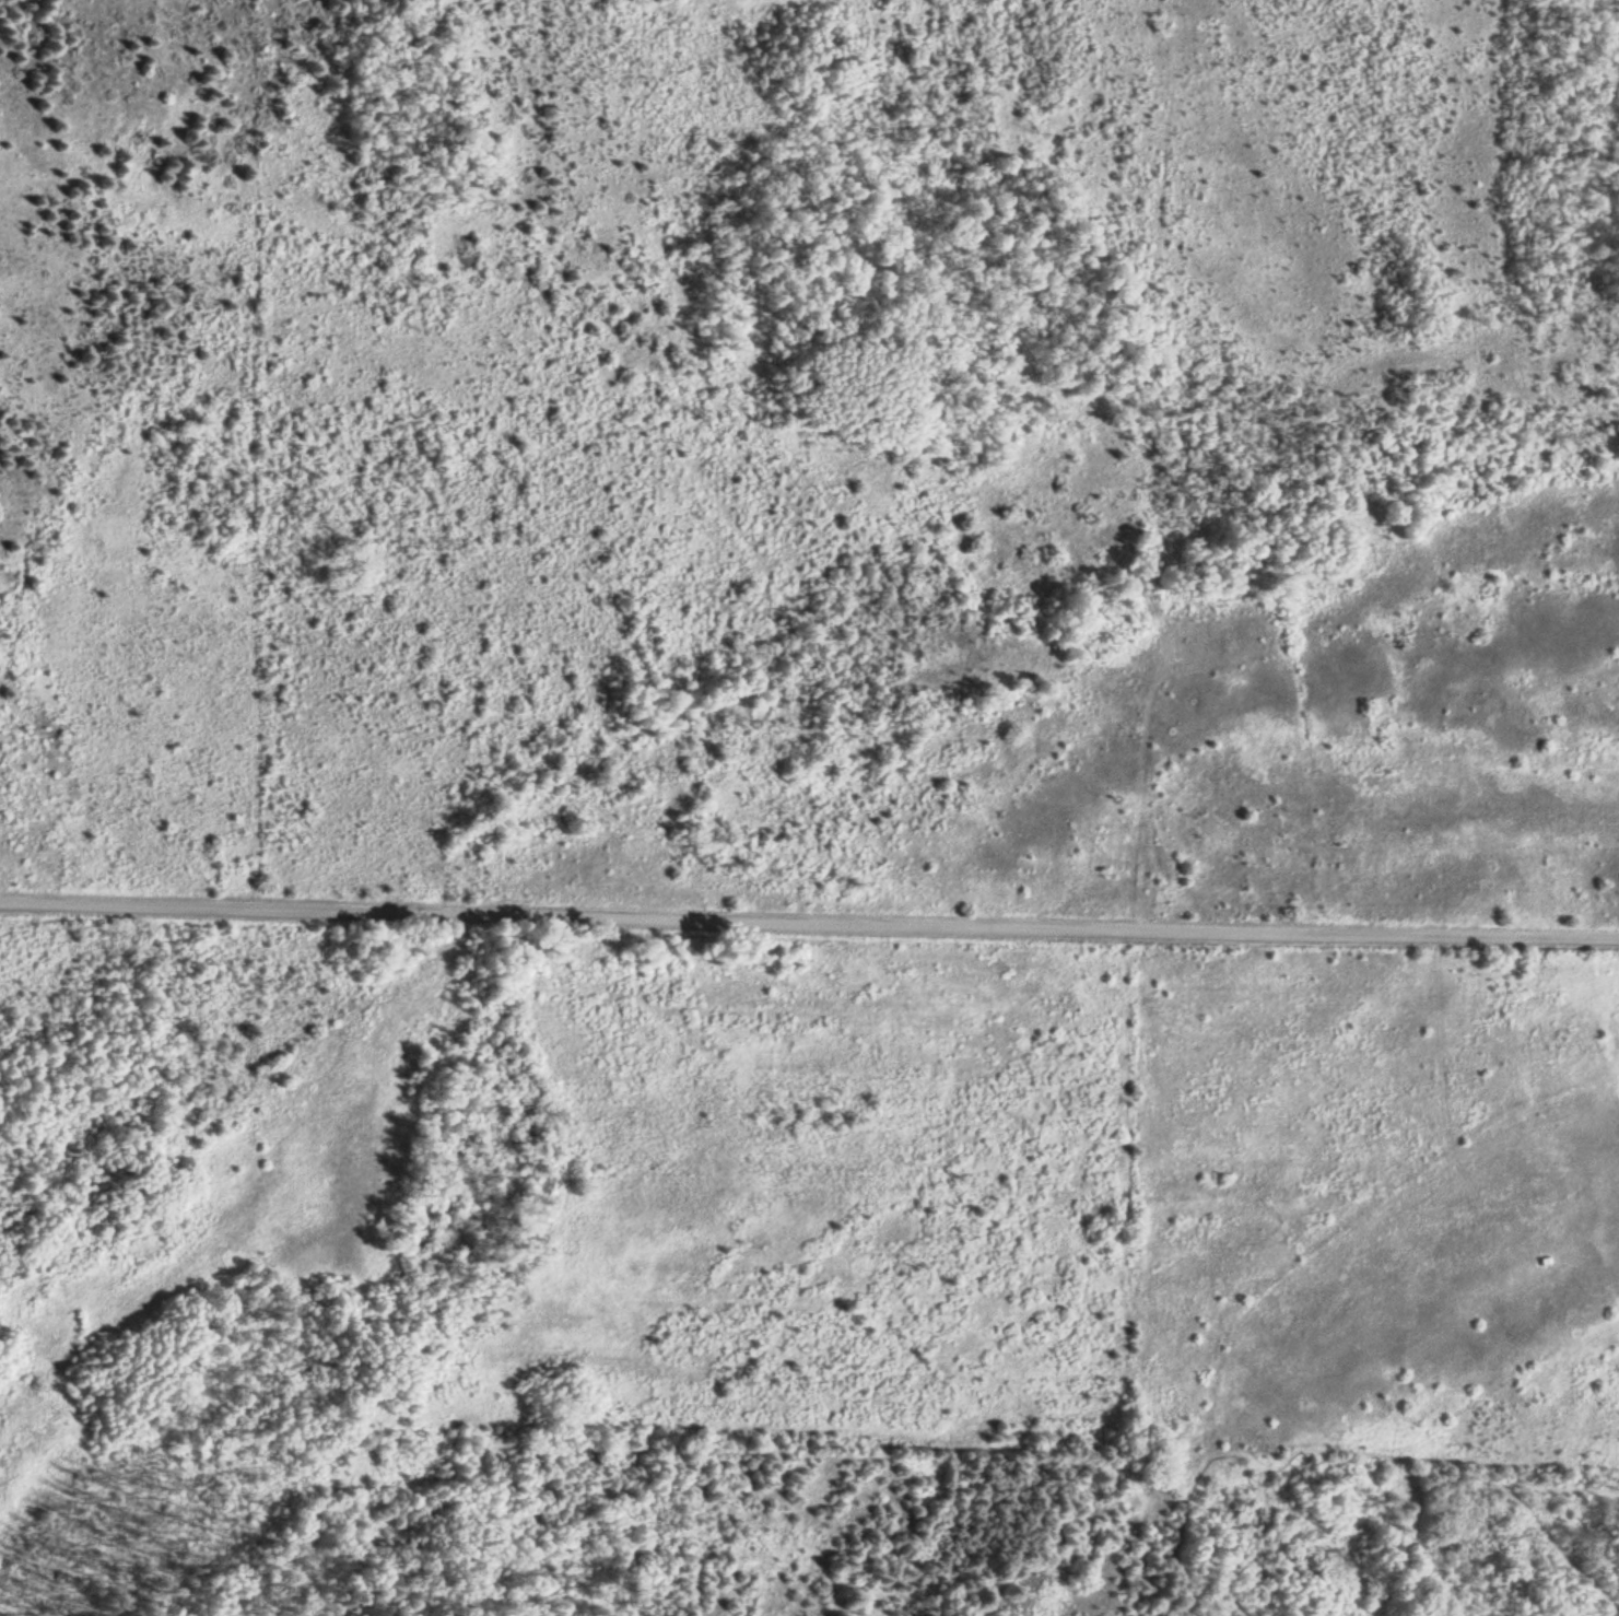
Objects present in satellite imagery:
road: (809, 924)

